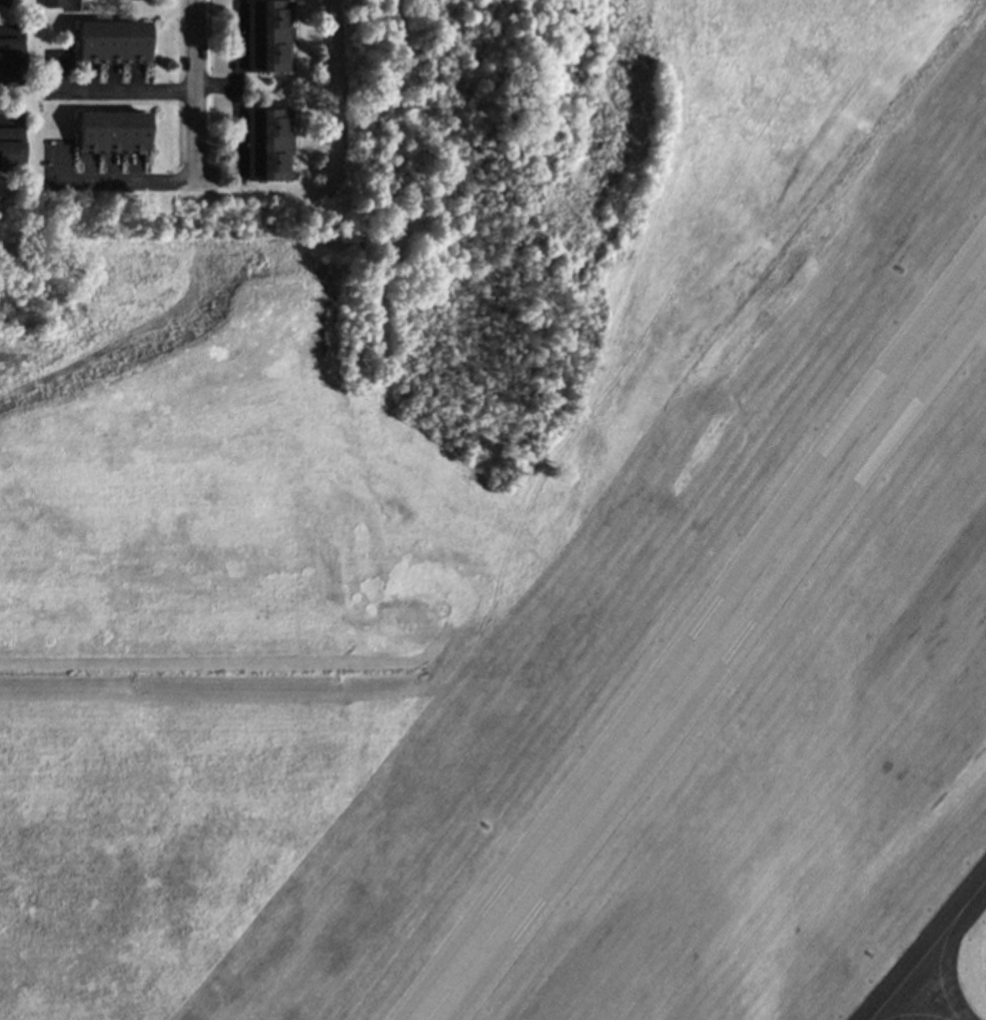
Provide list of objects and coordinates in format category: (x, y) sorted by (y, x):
road: (69, 1)
building: (52, 3)
road: (6, 27)
building: (271, 33)
building: (112, 40)
building: (10, 59)
road: (111, 90)
road: (195, 96)
building: (112, 131)
building: (271, 137)
building: (11, 147)
road: (109, 181)
airport: (520, 544)
airport runway: (707, 648)
airport taxiway: (926, 950)
airport taxiway: (937, 966)
airport taxiway: (914, 1012)

